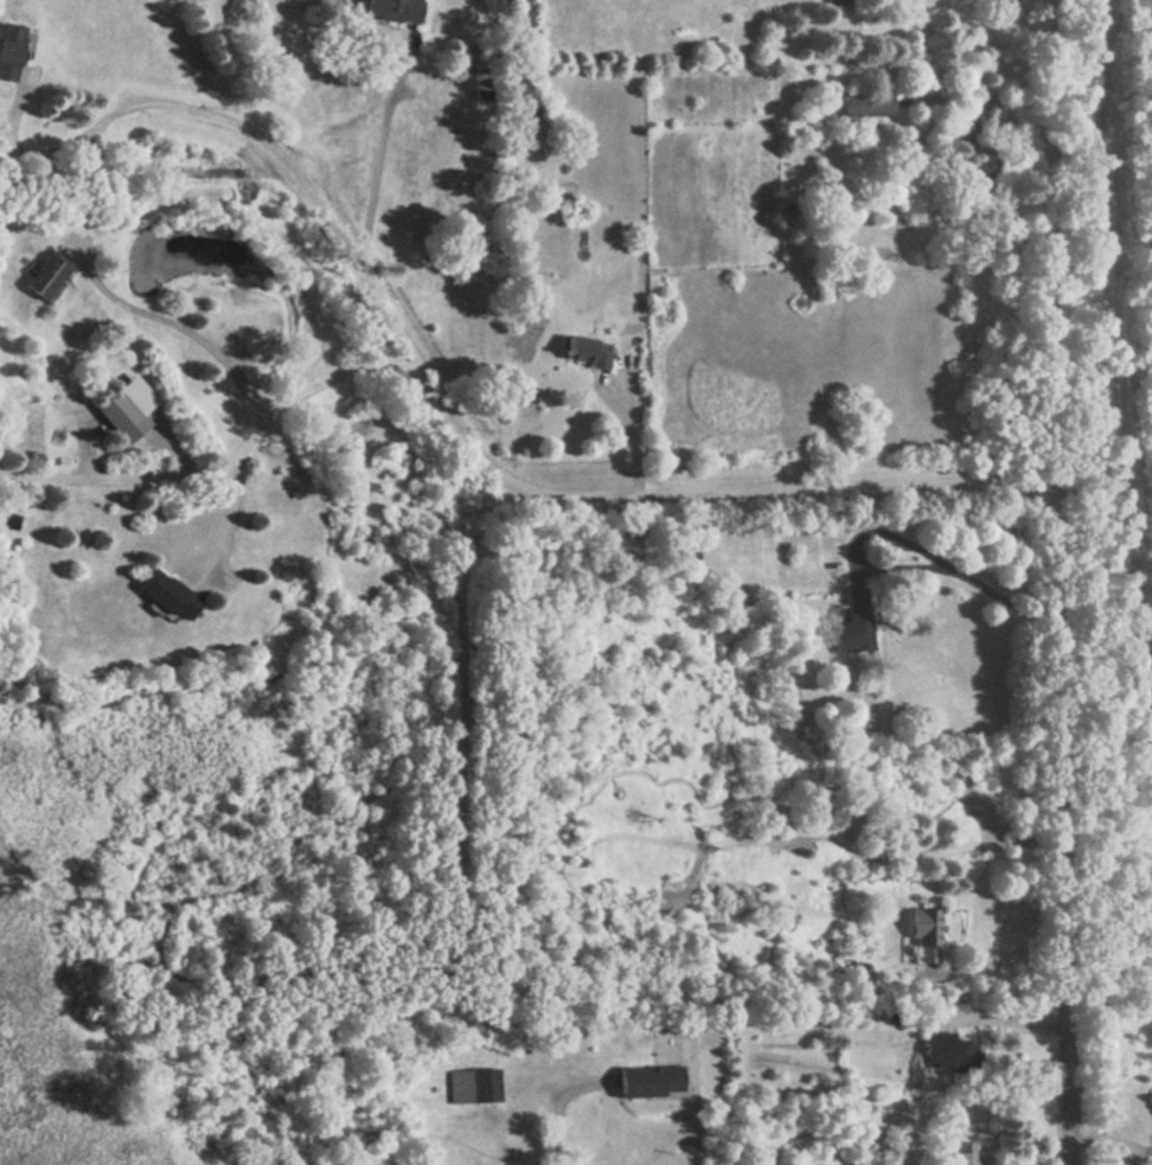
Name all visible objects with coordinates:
building: (841, 2)
building: (392, 11)
building: (9, 51)
building: (864, 105)
road: (379, 161)
building: (777, 213)
building: (45, 277)
road: (193, 328)
building: (585, 352)
road: (455, 407)
building: (124, 409)
road: (228, 457)
road: (231, 514)
road: (896, 571)
road: (1058, 582)
building: (166, 595)
building: (855, 625)
building: (924, 936)
road: (1007, 949)
road: (1005, 1020)
building: (948, 1052)
building: (649, 1082)
building: (473, 1087)
road: (695, 1134)
road: (1107, 1139)
building: (964, 1153)

